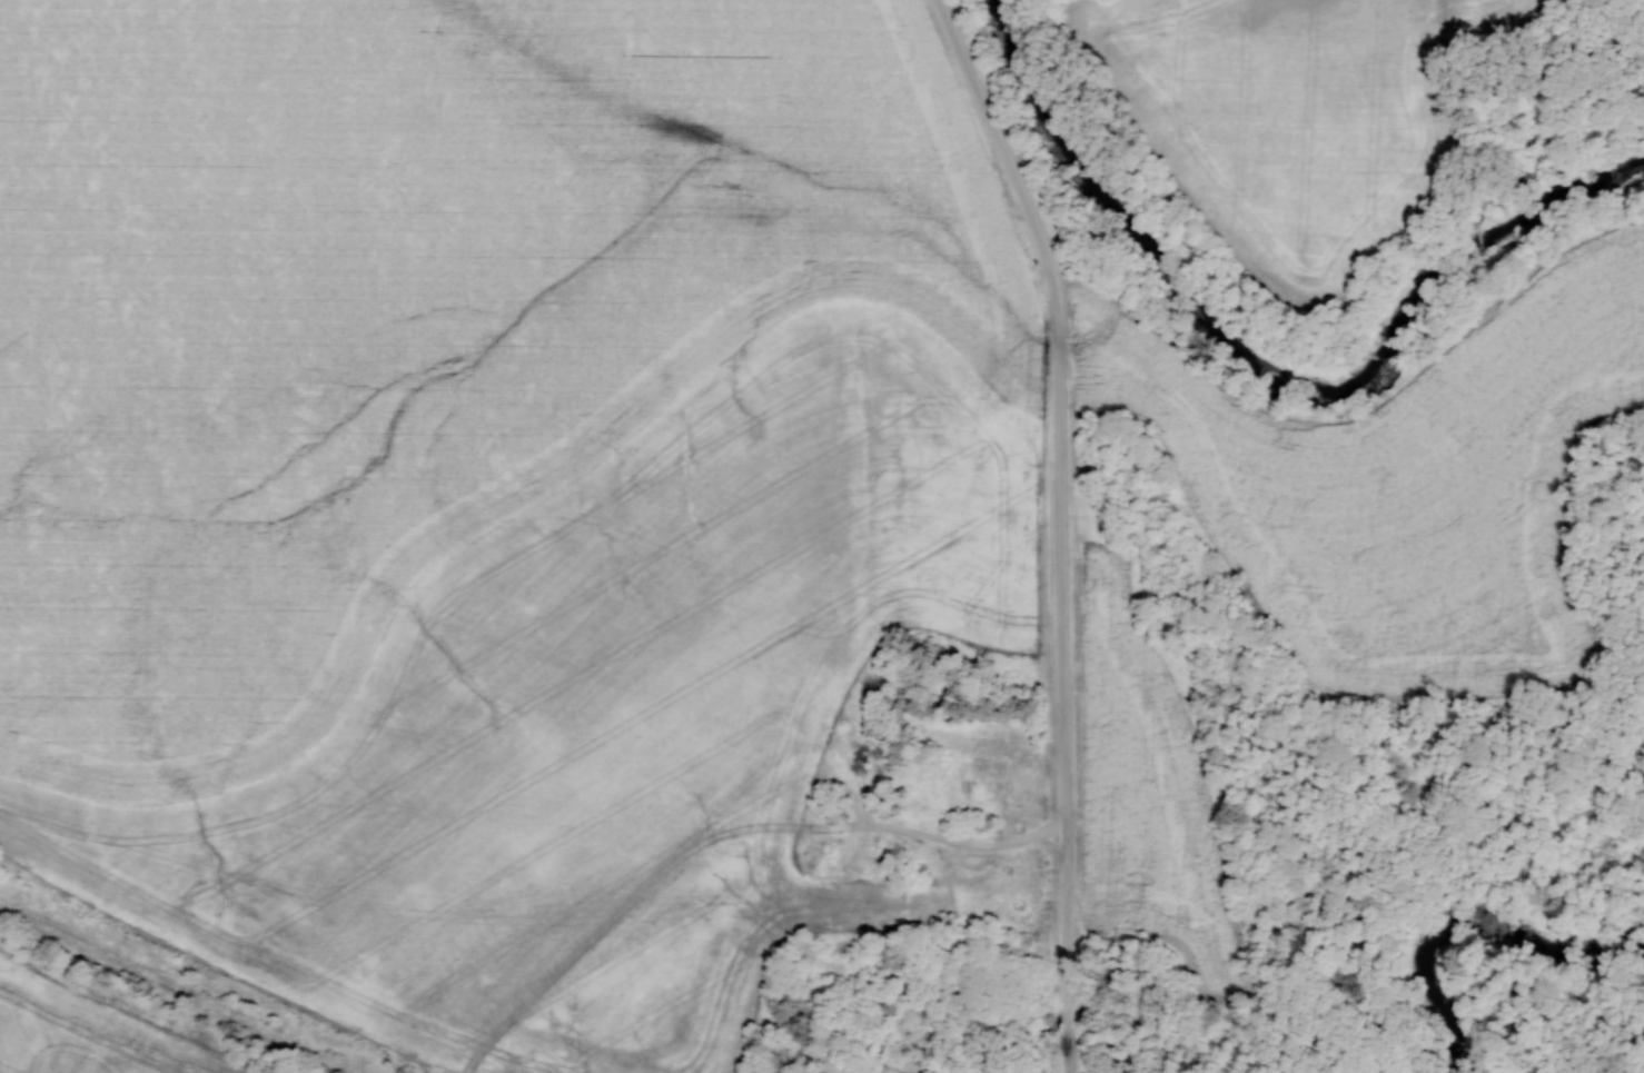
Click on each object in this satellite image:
road: (1061, 525)
road: (943, 841)

